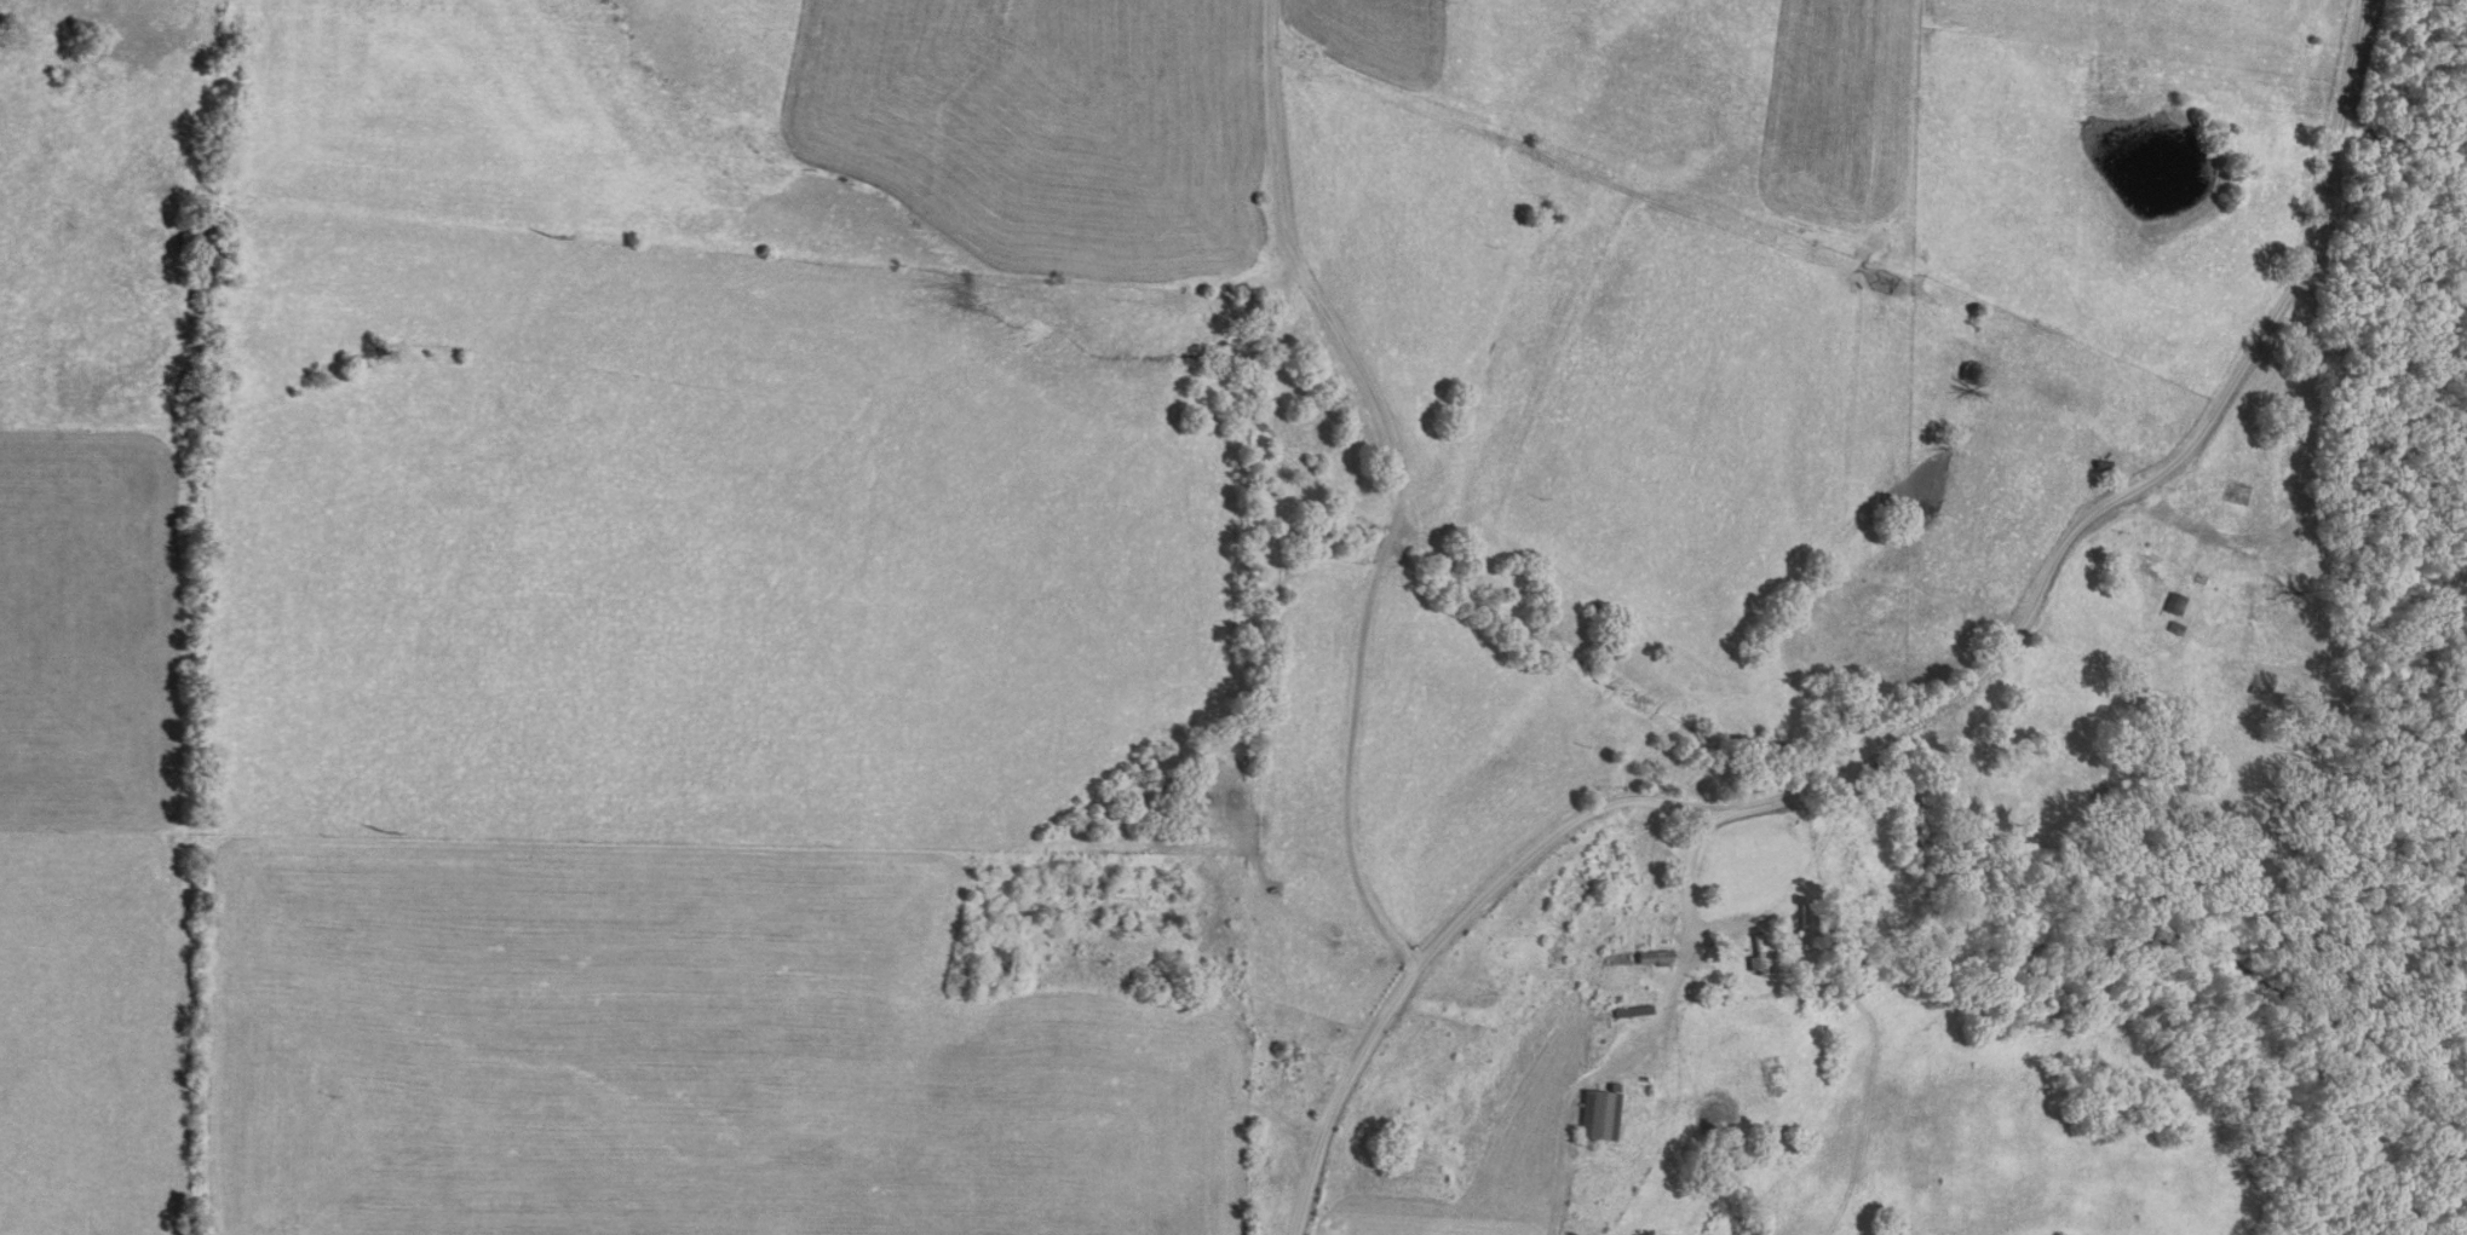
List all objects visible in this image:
building: (2175, 602)
road: (1954, 739)
building: (1759, 954)
building: (1599, 1114)

